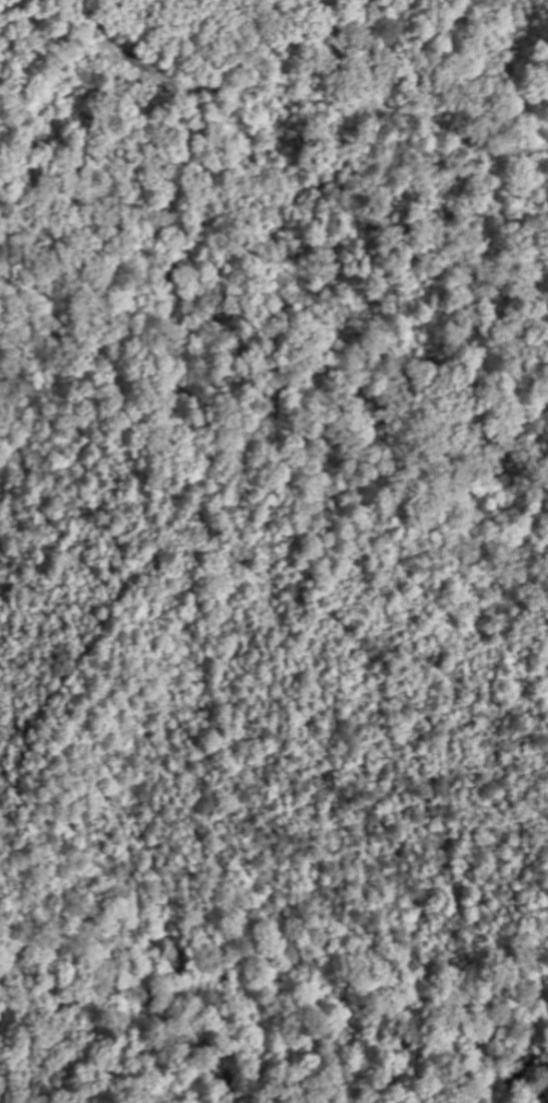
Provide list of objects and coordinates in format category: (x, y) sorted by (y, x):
road: (297, 92)

